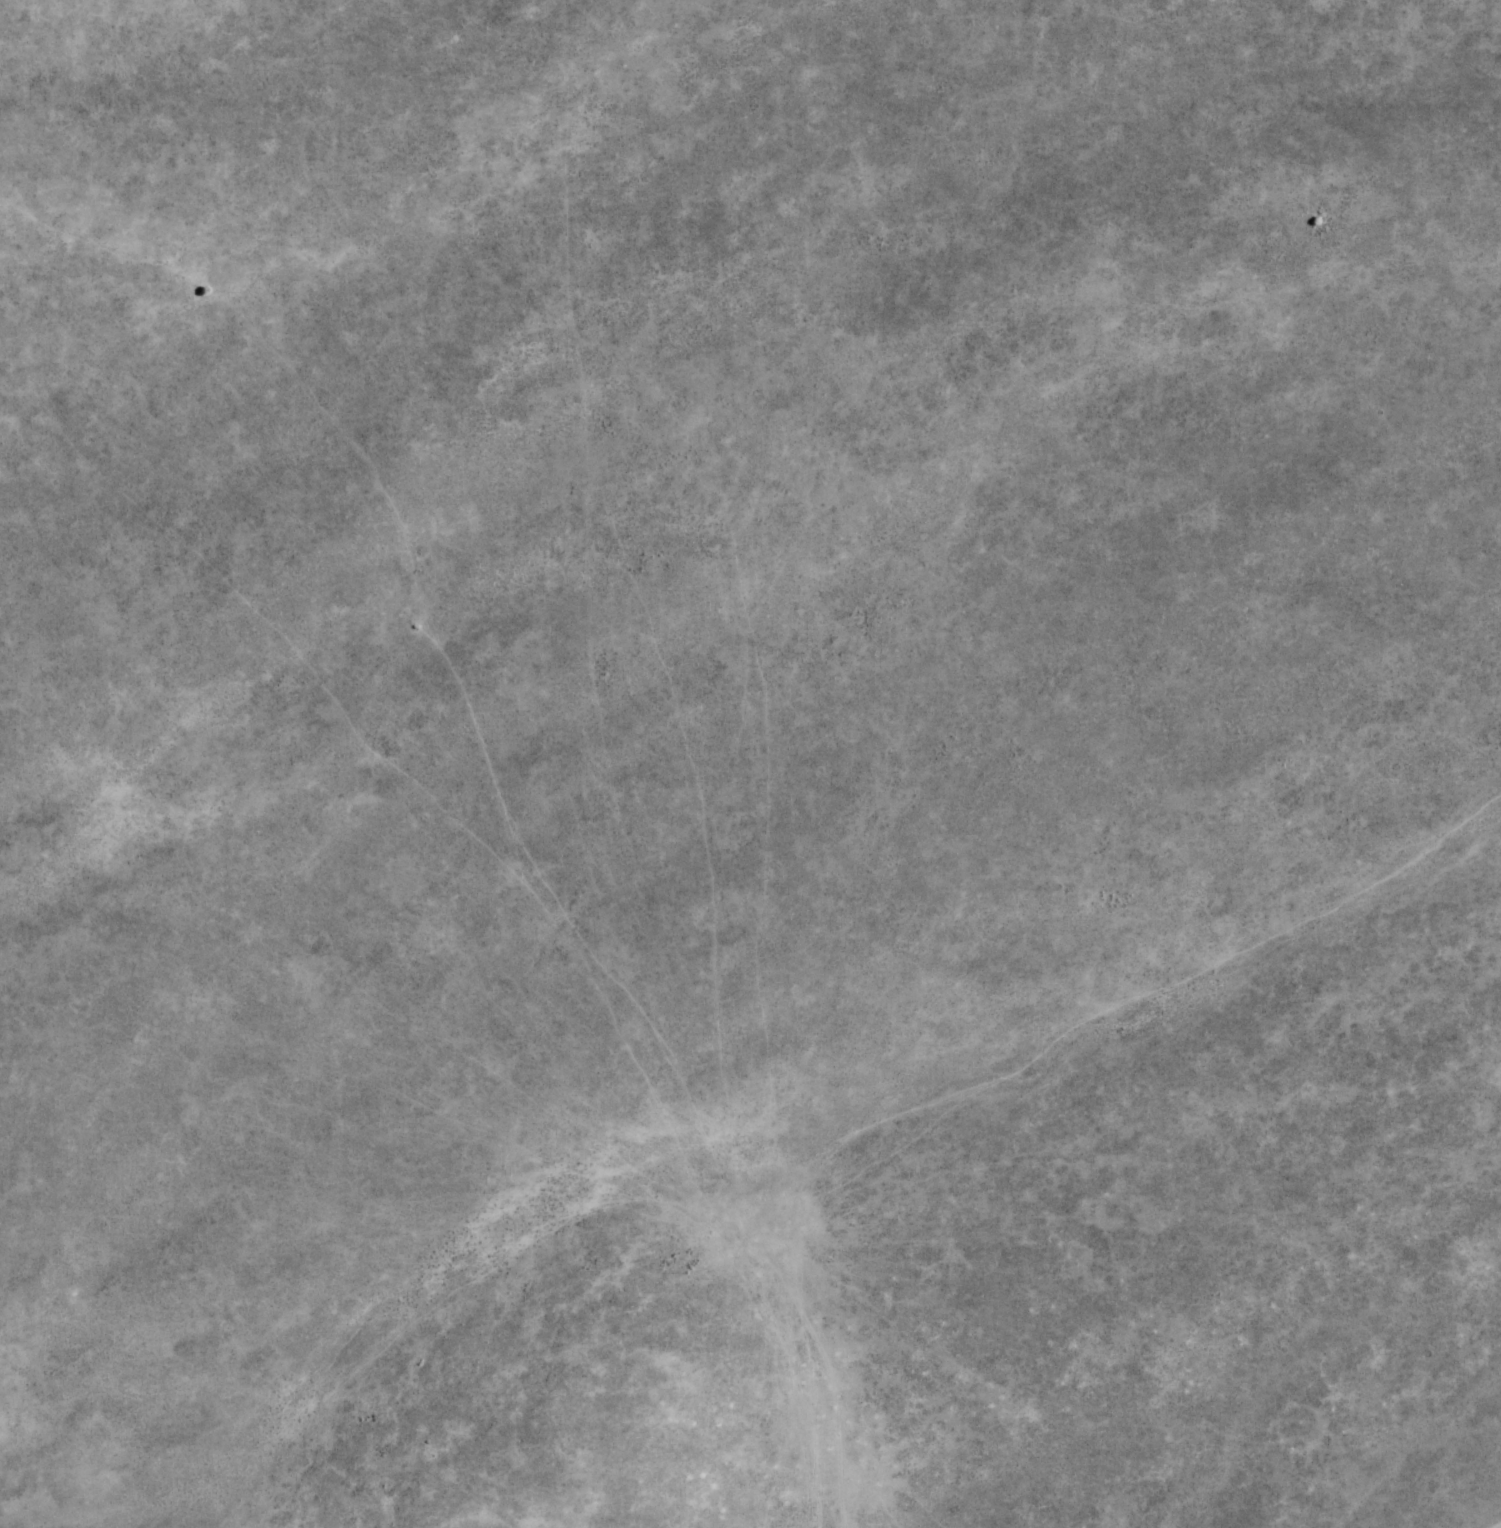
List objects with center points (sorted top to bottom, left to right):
road: (1481, 1514)

